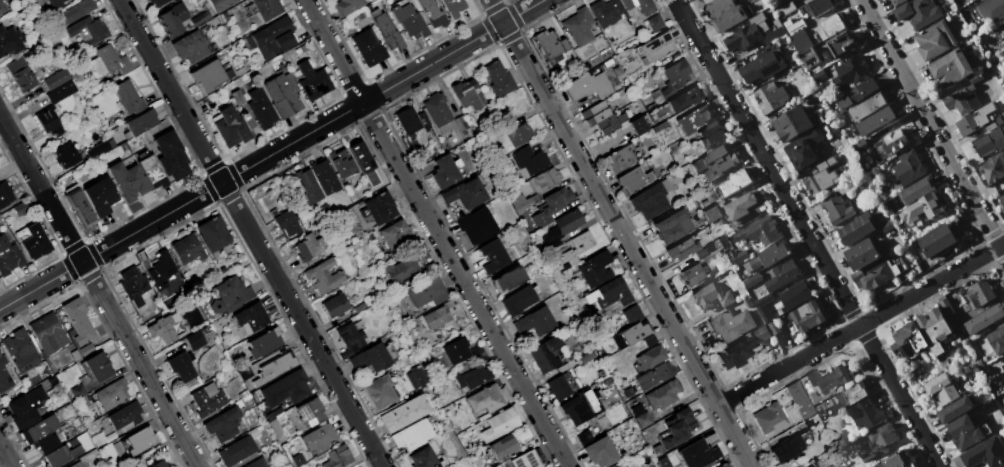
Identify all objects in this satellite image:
building: (34, 0)
building: (794, 0)
building: (158, 2)
building: (899, 2)
building: (56, 4)
building: (221, 4)
building: (627, 4)
building: (3, 6)
building: (348, 6)
building: (819, 6)
building: (452, 7)
building: (717, 7)
building: (783, 7)
building: (267, 9)
building: (991, 10)
building: (73, 12)
building: (606, 12)
building: (432, 13)
building: (917, 13)
building: (651, 14)
building: (201, 18)
building: (729, 18)
building: (172, 19)
building: (408, 20)
building: (581, 27)
building: (829, 27)
building: (88, 30)
building: (386, 30)
building: (1003, 31)
building: (752, 35)
building: (273, 36)
building: (936, 40)
building: (11, 41)
building: (550, 43)
building: (842, 44)
building: (191, 47)
building: (368, 48)
building: (655, 48)
building: (809, 57)
building: (108, 62)
building: (762, 67)
building: (951, 68)
building: (853, 70)
building: (21, 74)
building: (676, 75)
building: (209, 77)
building: (498, 79)
building: (57, 80)
building: (312, 81)
building: (587, 86)
building: (61, 91)
building: (857, 93)
building: (465, 94)
building: (282, 95)
building: (236, 96)
building: (770, 97)
building: (963, 97)
building: (129, 99)
building: (685, 101)
building: (867, 107)
building: (260, 109)
building: (437, 109)
building: (594, 113)
building: (693, 119)
building: (974, 119)
building: (411, 120)
building: (142, 121)
building: (876, 121)
building: (792, 123)
building: (50, 124)
building: (607, 124)
building: (638, 125)
road: (931, 129)
building: (233, 131)
road: (311, 131)
building: (517, 133)
building: (710, 135)
building: (990, 141)
building: (894, 142)
building: (98, 149)
building: (802, 151)
building: (68, 156)
building: (170, 156)
building: (621, 158)
building: (530, 160)
building: (340, 162)
building: (362, 162)
building: (713, 164)
building: (151, 168)
building: (908, 168)
building: (993, 168)
building: (444, 172)
building: (324, 176)
building: (821, 176)
building: (633, 180)
building: (129, 181)
building: (538, 182)
building: (732, 183)
building: (308, 186)
road: (41, 190)
building: (916, 190)
building: (5, 193)
building: (464, 193)
building: (100, 196)
building: (1001, 199)
building: (650, 201)
building: (523, 204)
building: (78, 205)
building: (552, 206)
building: (744, 206)
building: (380, 207)
building: (836, 208)
building: (921, 208)
building: (711, 213)
building: (287, 223)
building: (886, 225)
building: (476, 226)
building: (673, 226)
building: (561, 227)
building: (857, 228)
building: (757, 231)
building: (213, 233)
road: (250, 233)
road: (435, 233)
road: (620, 233)
road: (806, 233)
building: (396, 236)
building: (937, 240)
building: (34, 242)
building: (723, 242)
building: (308, 247)
building: (578, 247)
building: (187, 249)
building: (682, 249)
building: (861, 254)
building: (738, 255)
building: (9, 256)
building: (492, 256)
building: (767, 256)
building: (161, 268)
building: (403, 269)
building: (595, 269)
building: (694, 273)
building: (781, 274)
building: (872, 275)
building: (323, 276)
building: (507, 279)
building: (752, 280)
road: (41, 285)
building: (133, 285)
building: (427, 292)
building: (982, 292)
building: (612, 293)
building: (229, 294)
building: (794, 295)
building: (711, 296)
building: (519, 299)
building: (334, 306)
building: (763, 312)
building: (441, 314)
building: (805, 315)
building: (250, 316)
building: (984, 318)
building: (78, 321)
building: (535, 321)
road: (860, 323)
building: (731, 324)
building: (634, 326)
building: (774, 327)
building: (934, 328)
building: (162, 330)
building: (48, 333)
building: (762, 333)
building: (349, 339)
building: (904, 339)
building: (996, 339)
building: (195, 340)
building: (265, 342)
building: (20, 350)
building: (463, 350)
building: (735, 353)
building: (545, 354)
building: (1003, 356)
building: (587, 357)
building: (651, 358)
building: (370, 359)
road: (139, 365)
building: (181, 366)
building: (95, 367)
building: (274, 369)
building: (655, 376)
building: (5, 377)
building: (829, 378)
building: (417, 379)
building: (474, 379)
building: (557, 387)
building: (286, 389)
building: (941, 389)
building: (379, 392)
building: (111, 393)
building: (663, 394)
building: (850, 395)
building: (488, 398)
building: (208, 399)
building: (800, 400)
building: (27, 407)
building: (581, 407)
building: (818, 408)
building: (956, 409)
building: (309, 413)
building: (867, 413)
building: (403, 414)
building: (125, 415)
building: (641, 416)
building: (770, 418)
building: (223, 424)
building: (501, 424)
building: (809, 424)
building: (679, 428)
building: (38, 429)
building: (277, 430)
building: (966, 432)
building: (411, 435)
building: (318, 439)
building: (139, 441)
building: (875, 441)
building: (47, 443)
building: (503, 450)
building: (659, 450)
building: (786, 450)
building: (236, 451)
building: (600, 452)
building: (985, 453)
building: (698, 454)
building: (61, 455)
road: (6, 456)
building: (337, 457)
building: (297, 459)
building: (424, 459)
building: (528, 459)
building: (896, 460)
building: (256, 463)
building: (76, 464)
building: (160, 464)
building: (724, 465)
building: (910, 465)
building: (123, 466)
building: (810, 466)

